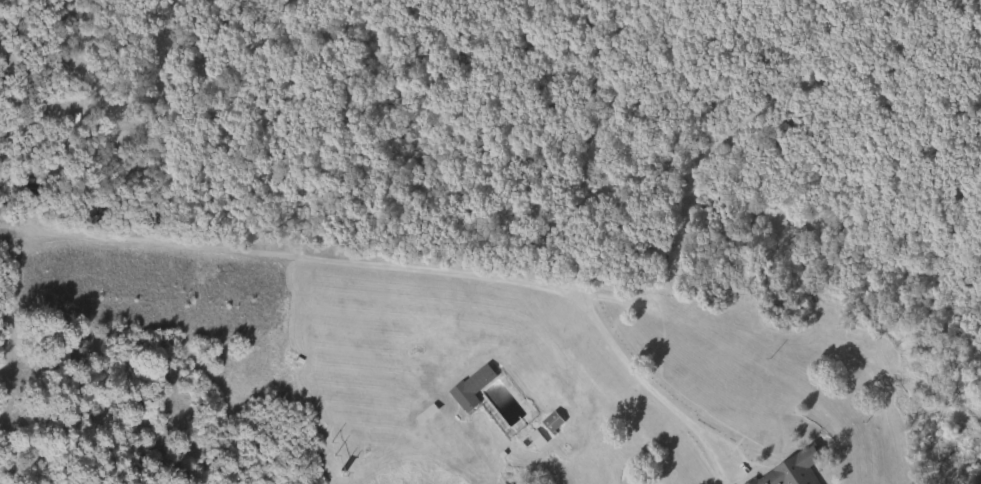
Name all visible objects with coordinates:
building: (162, 112)
road: (577, 253)
building: (649, 257)
building: (470, 387)
building: (790, 470)

